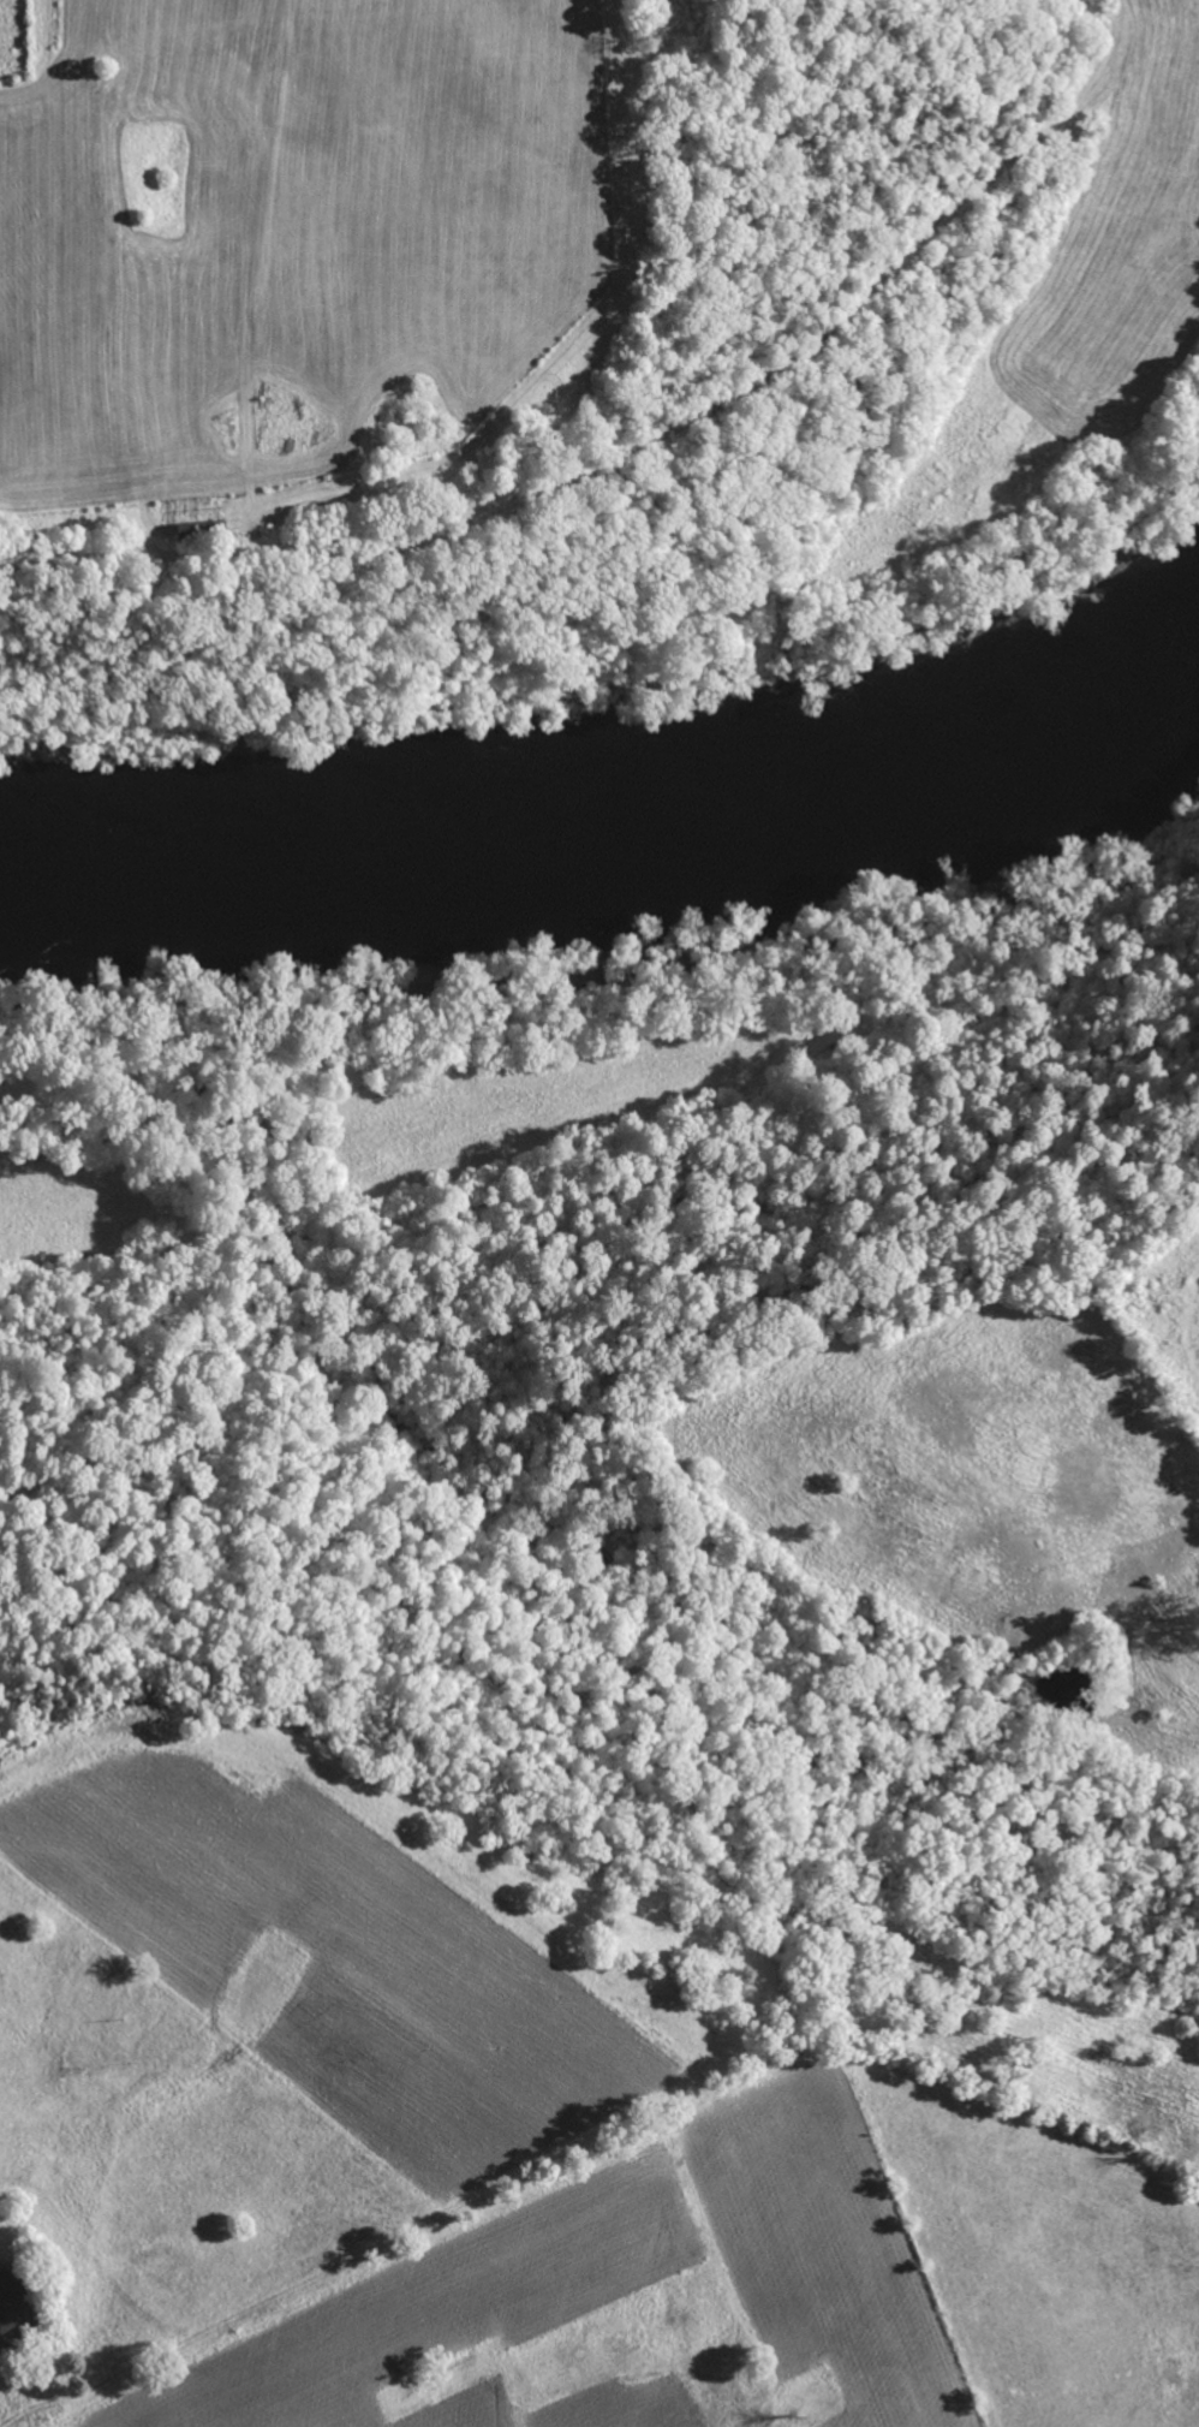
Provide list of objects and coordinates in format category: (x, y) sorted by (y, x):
river: (620, 791)

